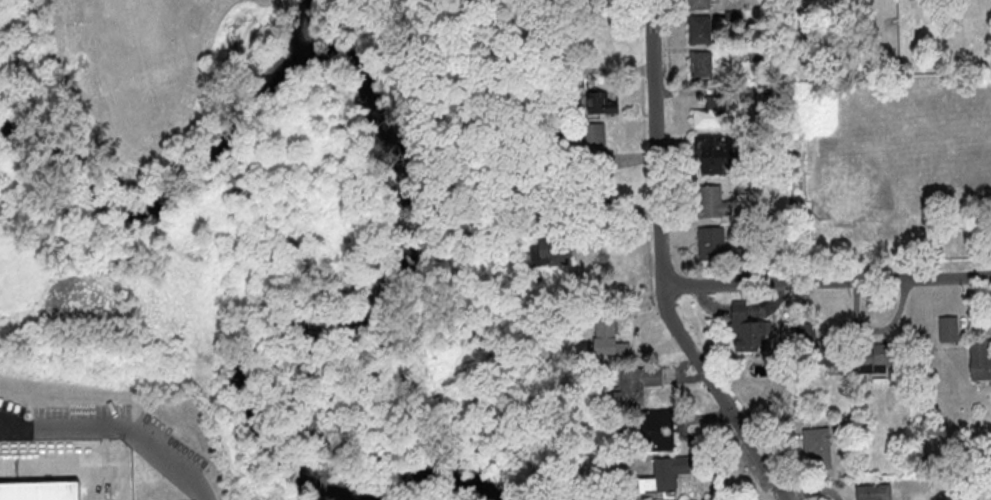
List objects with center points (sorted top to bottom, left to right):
building: (697, 3)
building: (601, 4)
building: (732, 14)
river: (302, 24)
building: (698, 28)
building: (758, 52)
building: (700, 64)
building: (747, 92)
building: (601, 101)
building: (559, 108)
building: (709, 112)
building: (586, 139)
river: (55, 149)
building: (401, 152)
building: (717, 152)
river: (204, 153)
building: (470, 162)
road: (178, 164)
building: (742, 185)
building: (596, 195)
building: (711, 202)
building: (719, 246)
building: (549, 252)
road: (661, 267)
road: (188, 270)
road: (826, 280)
building: (592, 305)
river: (302, 328)
building: (946, 328)
building: (746, 329)
building: (607, 339)
building: (819, 346)
building: (872, 357)
building: (979, 359)
building: (632, 385)
building: (856, 402)
building: (843, 421)
road: (117, 428)
building: (657, 430)
building: (816, 445)
building: (664, 474)
building: (41, 491)
building: (872, 491)
building: (713, 499)

